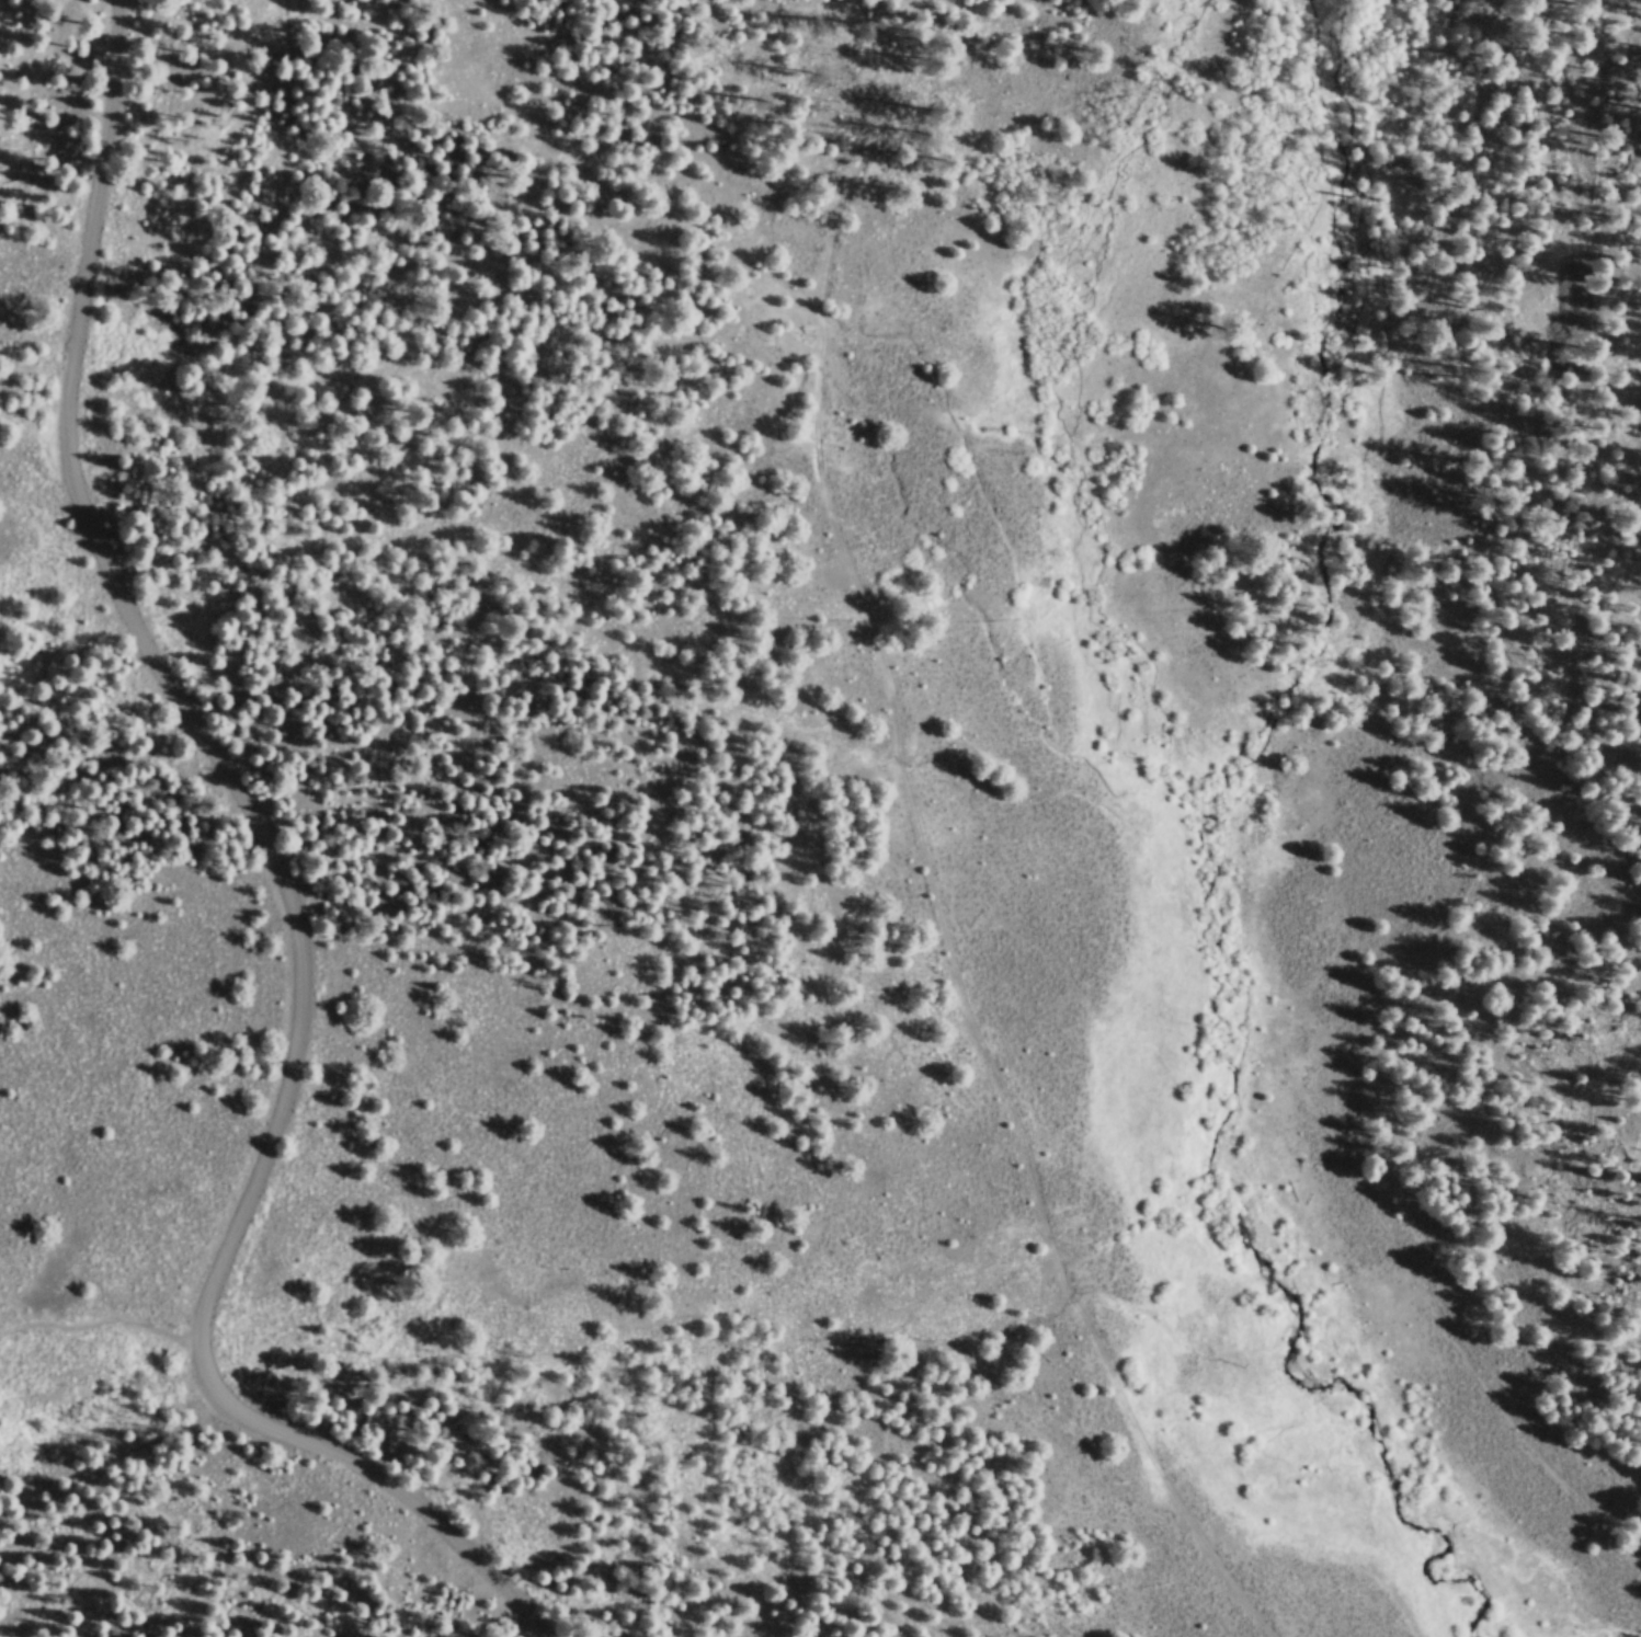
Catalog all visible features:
road: (821, 359)
road: (287, 891)
road: (988, 1127)
road: (98, 1327)

